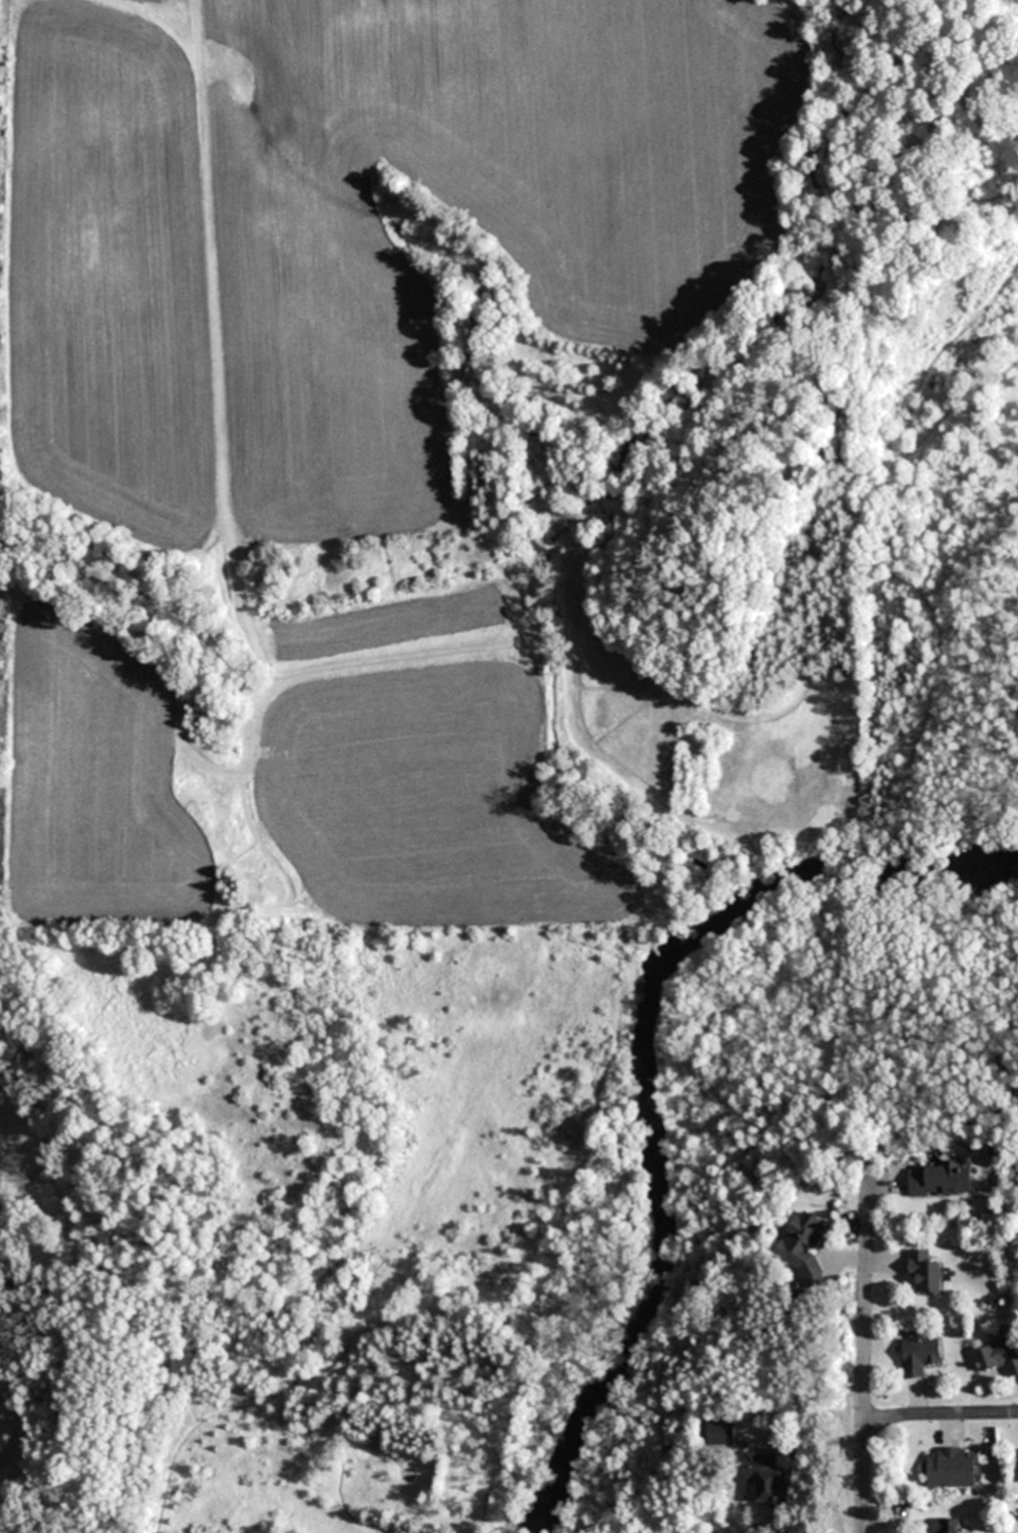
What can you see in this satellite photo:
crop: (439, 466)
park: (943, 568)
river: (644, 1065)
building: (939, 1182)
building: (805, 1247)
building: (926, 1274)
building: (920, 1357)
building: (998, 1358)
road: (863, 1360)
road: (940, 1415)
building: (951, 1469)
building: (765, 1477)
river: (9, 1523)
building: (946, 1525)

